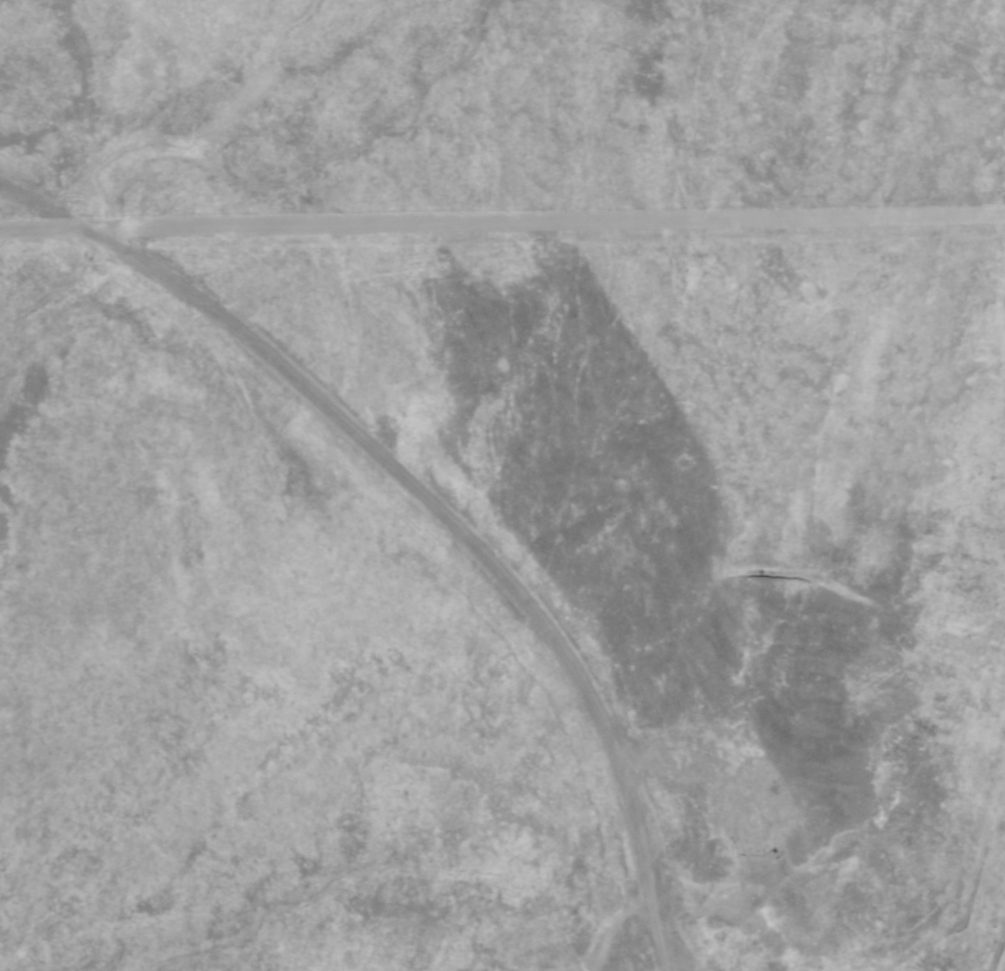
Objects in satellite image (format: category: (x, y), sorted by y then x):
road: (451, 528)
airport: (503, 595)
road: (999, 956)

